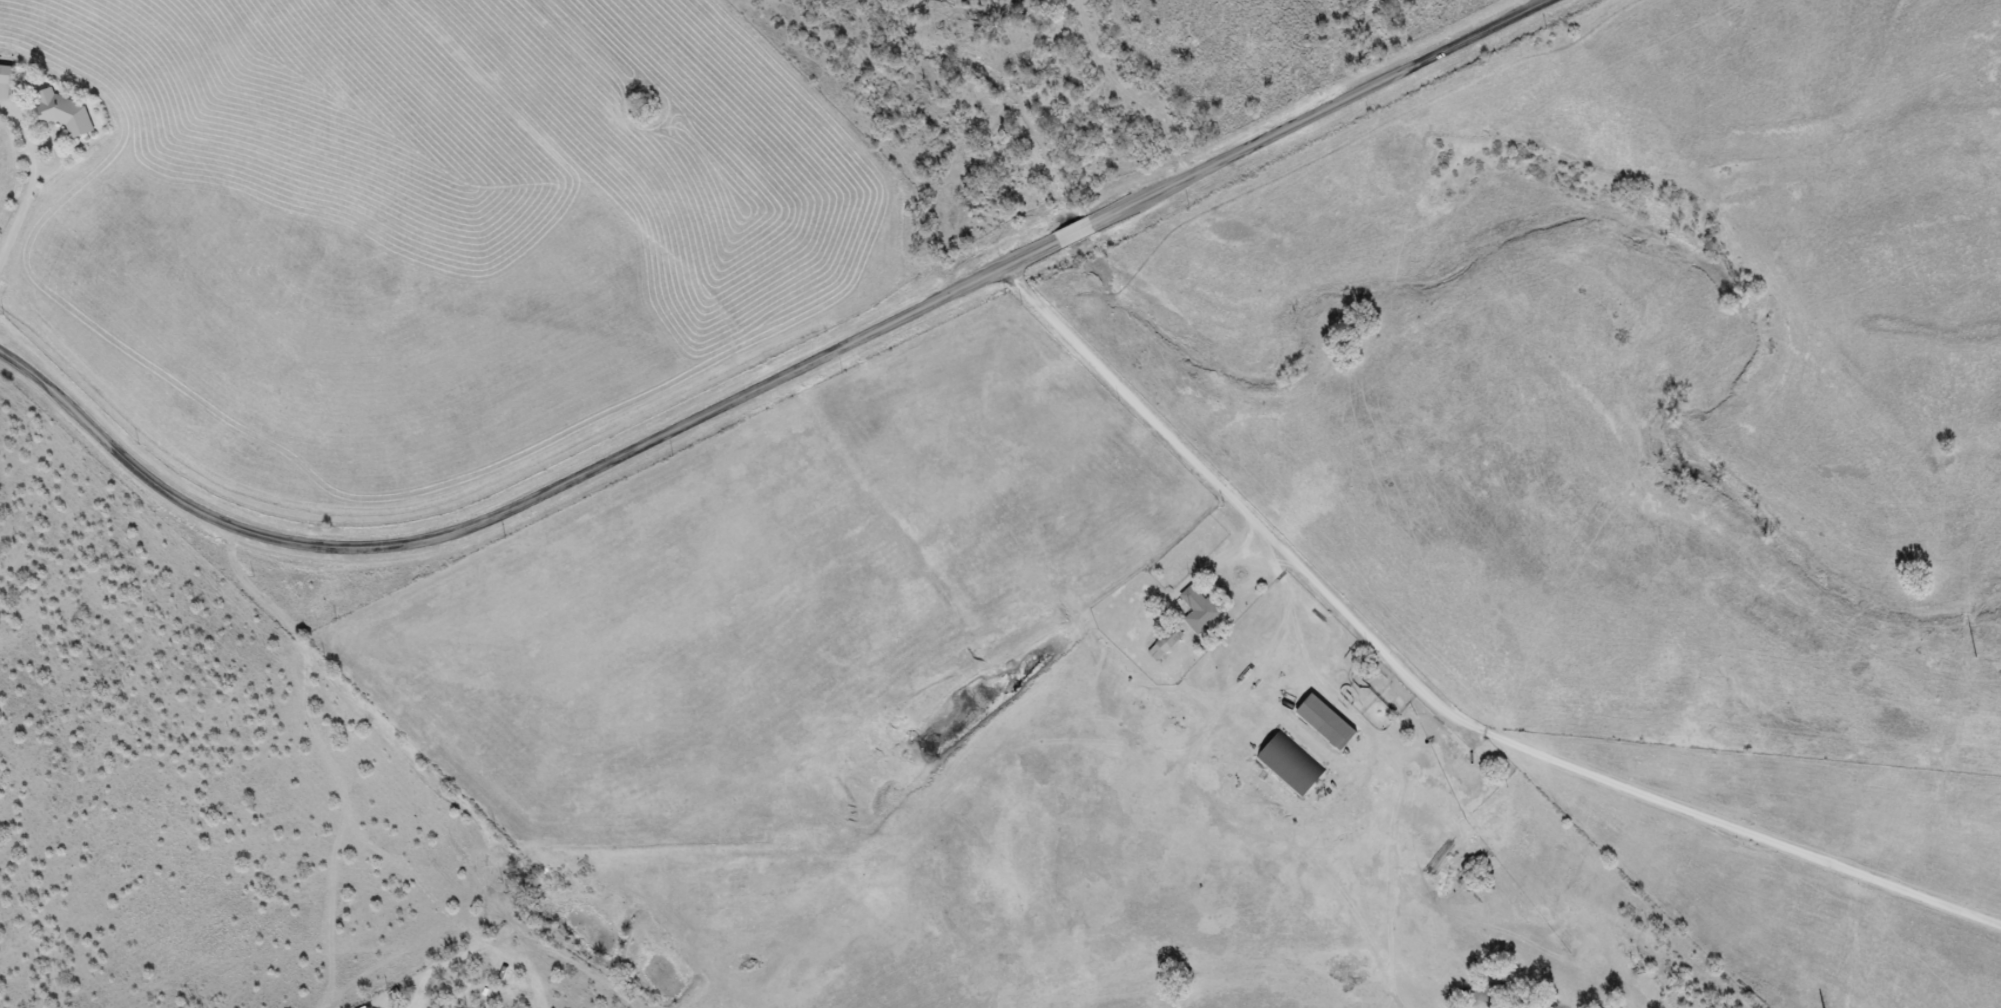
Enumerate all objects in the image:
building: (6, 82)
building: (66, 114)
road: (768, 381)
building: (1200, 609)
road: (1432, 702)
building: (1329, 723)
building: (1292, 766)

